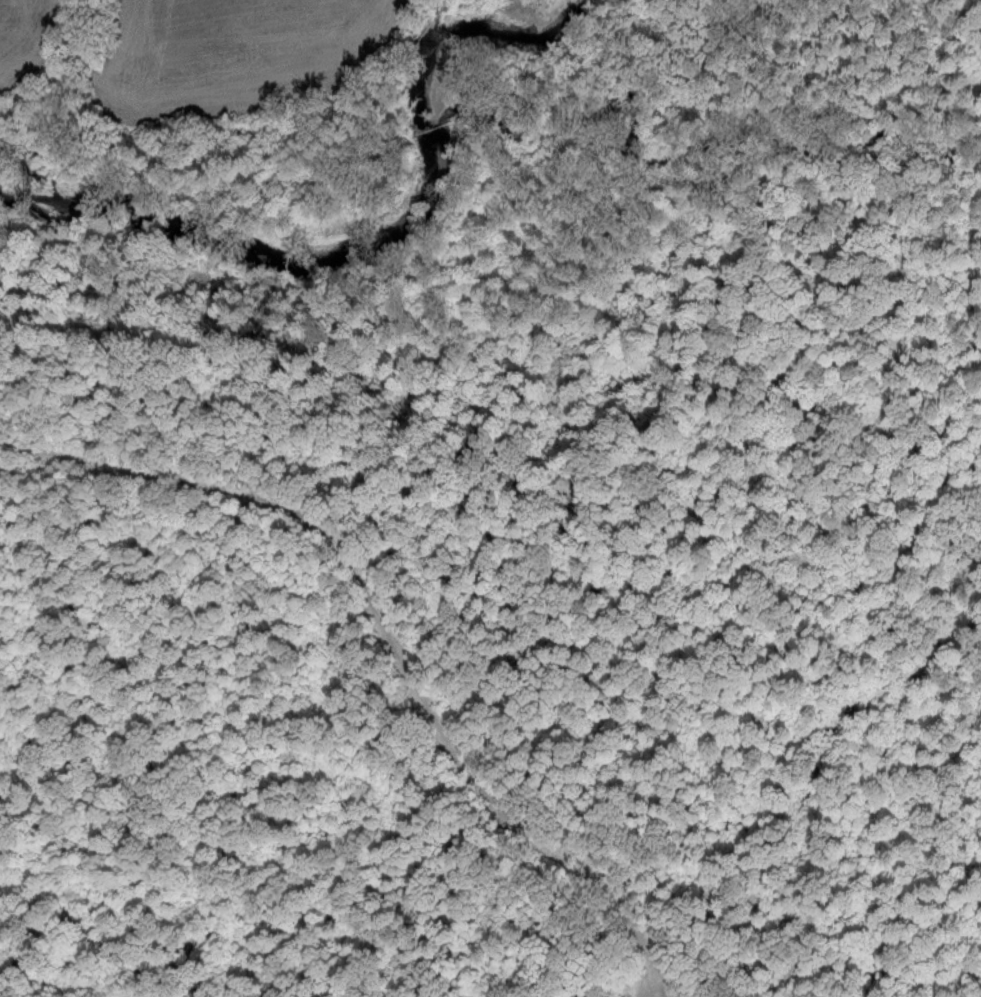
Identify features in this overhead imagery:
road: (381, 652)

